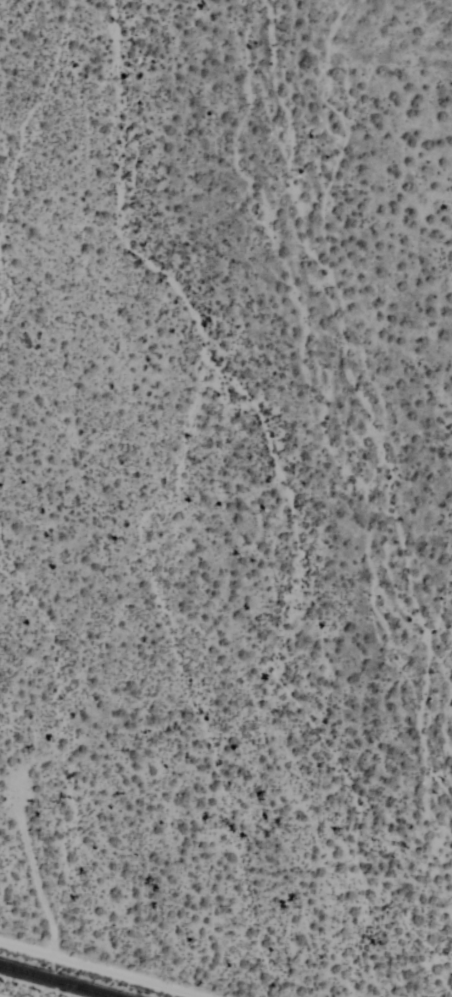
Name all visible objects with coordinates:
railway: (52, 982)

